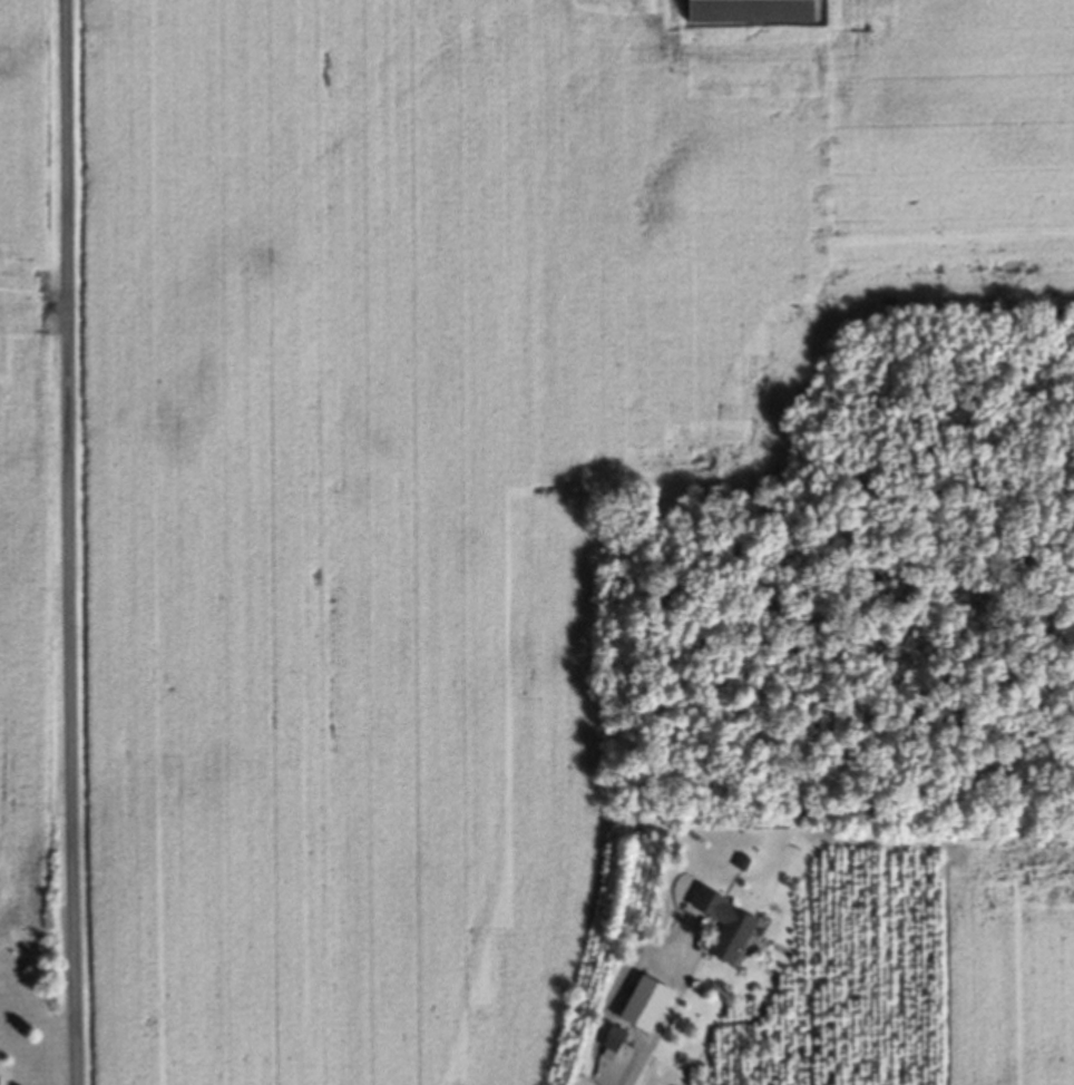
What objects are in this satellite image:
building: (745, 13)
road: (70, 542)
building: (722, 930)
building: (639, 1008)
road: (635, 1067)

